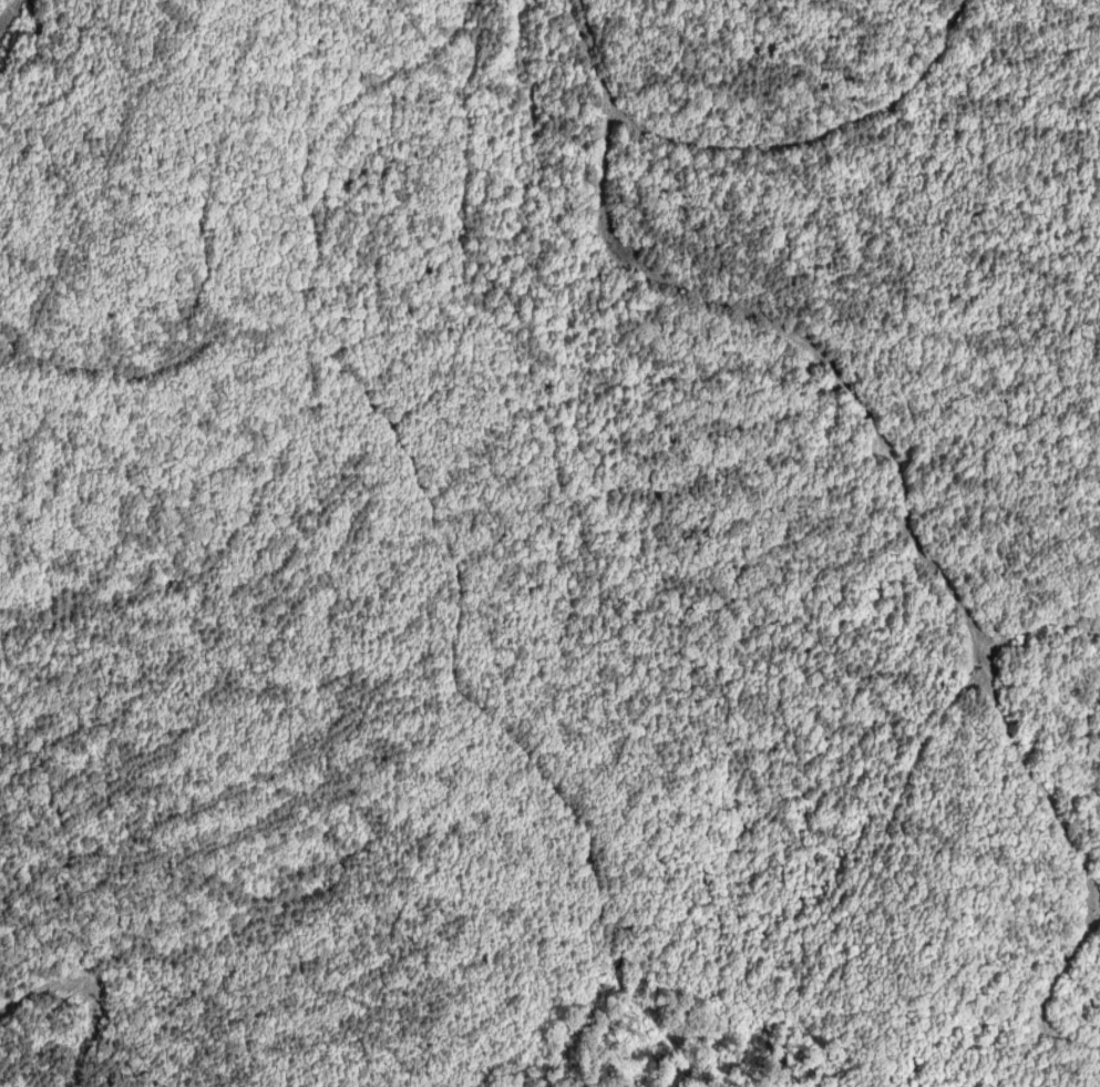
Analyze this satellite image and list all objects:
road: (11, 18)

